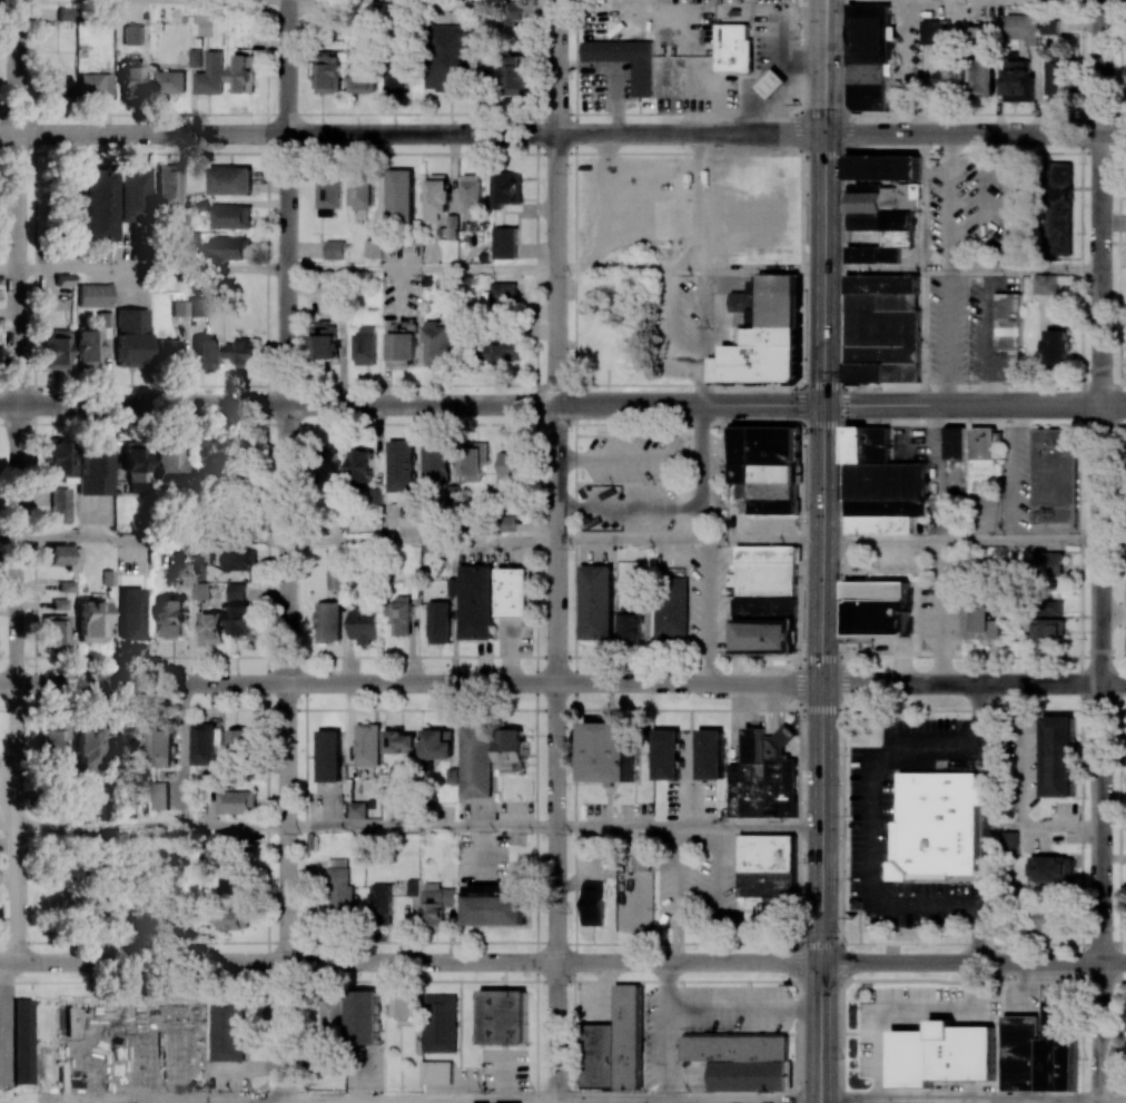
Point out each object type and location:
road: (823, 0)
road: (824, 0)
road: (882, 0)
building: (511, 12)
building: (66, 13)
building: (1049, 27)
building: (1023, 28)
building: (935, 32)
building: (979, 35)
building: (732, 49)
building: (195, 57)
building: (867, 57)
building: (448, 58)
building: (625, 61)
road: (554, 66)
road: (1100, 66)
road: (823, 67)
building: (944, 71)
building: (243, 73)
building: (326, 73)
building: (210, 75)
building: (362, 75)
building: (514, 75)
building: (396, 77)
building: (980, 77)
building: (1056, 79)
building: (1016, 80)
building: (129, 81)
building: (171, 81)
building: (57, 83)
building: (95, 83)
building: (772, 85)
road: (563, 112)
road: (277, 131)
road: (689, 132)
road: (975, 134)
road: (1077, 150)
road: (496, 154)
building: (230, 180)
building: (167, 185)
building: (507, 189)
building: (363, 194)
building: (131, 195)
building: (402, 195)
building: (328, 198)
building: (438, 198)
building: (471, 200)
road: (77, 201)
building: (95, 204)
building: (1058, 208)
building: (881, 209)
road: (802, 210)
building: (754, 214)
building: (230, 216)
building: (452, 227)
building: (505, 243)
building: (231, 247)
building: (373, 248)
building: (334, 249)
road: (554, 267)
road: (822, 268)
road: (961, 268)
road: (9, 269)
road: (419, 269)
road: (626, 269)
road: (151, 270)
building: (1046, 284)
building: (93, 294)
building: (502, 294)
building: (197, 306)
building: (179, 307)
building: (1008, 322)
building: (881, 328)
road: (989, 335)
building: (131, 336)
road: (949, 336)
building: (324, 339)
building: (763, 341)
building: (436, 342)
building: (1057, 343)
building: (403, 344)
building: (365, 345)
building: (88, 347)
building: (56, 348)
building: (167, 348)
building: (501, 349)
building: (205, 353)
building: (243, 354)
road: (821, 385)
road: (276, 402)
road: (688, 404)
road: (974, 404)
traffic signals: (822, 405)
road: (701, 408)
road: (962, 423)
building: (954, 443)
road: (800, 446)
building: (240, 455)
building: (59, 459)
building: (472, 461)
building: (435, 462)
building: (981, 463)
building: (168, 464)
building: (360, 465)
building: (401, 465)
building: (328, 466)
building: (764, 467)
building: (136, 469)
building: (512, 469)
building: (93, 471)
road: (937, 472)
road: (1116, 473)
building: (1051, 475)
building: (879, 476)
road: (19, 481)
building: (60, 504)
building: (506, 523)
building: (878, 525)
road: (9, 539)
road: (151, 539)
road: (418, 539)
road: (688, 540)
road: (961, 541)
road: (285, 549)
building: (62, 555)
building: (240, 560)
building: (764, 572)
building: (1039, 572)
building: (336, 579)
building: (199, 591)
building: (235, 591)
building: (514, 592)
building: (477, 602)
building: (595, 603)
building: (670, 608)
building: (1044, 608)
building: (763, 609)
building: (876, 610)
road: (939, 611)
building: (130, 612)
building: (399, 614)
road: (1114, 615)
building: (171, 618)
road: (1102, 618)
building: (239, 619)
building: (91, 620)
building: (328, 621)
building: (439, 622)
building: (630, 623)
building: (980, 624)
building: (364, 626)
building: (213, 628)
road: (1073, 629)
building: (55, 631)
building: (1047, 632)
building: (764, 638)
road: (981, 651)
road: (421, 657)
road: (960, 657)
road: (991, 662)
road: (411, 681)
road: (822, 683)
road: (974, 683)
road: (534, 688)
road: (1023, 705)
road: (609, 706)
road: (563, 710)
building: (128, 737)
building: (162, 743)
building: (204, 743)
building: (239, 743)
building: (398, 743)
building: (50, 746)
building: (87, 746)
building: (366, 746)
building: (436, 746)
road: (690, 746)
road: (554, 750)
building: (510, 752)
building: (608, 754)
building: (329, 755)
building: (668, 757)
building: (711, 757)
building: (1057, 758)
road: (635, 759)
building: (474, 761)
road: (1021, 770)
building: (763, 778)
road: (572, 784)
building: (160, 795)
building: (237, 802)
road: (609, 807)
building: (358, 808)
road: (868, 824)
road: (9, 825)
road: (151, 825)
road: (419, 826)
road: (687, 826)
building: (936, 827)
road: (1057, 828)
building: (1011, 841)
building: (229, 843)
building: (640, 863)
building: (766, 864)
building: (1053, 868)
building: (233, 883)
building: (413, 886)
building: (339, 890)
road: (735, 897)
building: (379, 902)
building: (436, 903)
building: (591, 904)
building: (493, 908)
building: (91, 914)
building: (233, 918)
road: (738, 927)
road: (858, 927)
road: (591, 935)
road: (421, 942)
road: (572, 957)
road: (409, 961)
road: (972, 962)
traffic signals: (821, 963)
road: (841, 965)
road: (1102, 976)
road: (962, 978)
road: (561, 981)
road: (18, 985)
building: (401, 1005)
building: (329, 1016)
building: (363, 1016)
building: (502, 1017)
road: (3, 1020)
building: (439, 1023)
building: (227, 1030)
road: (739, 1032)
road: (816, 1032)
road: (824, 1032)
road: (642, 1034)
road: (1117, 1035)
building: (21, 1040)
building: (613, 1043)
building: (1039, 1048)
building: (942, 1057)
building: (740, 1060)
building: (436, 1072)
road: (176, 1097)
road: (418, 1097)
road: (956, 1099)
road: (67, 1100)
road: (115, 1100)
road: (559, 1100)
road: (682, 1100)
road: (1113, 1101)

